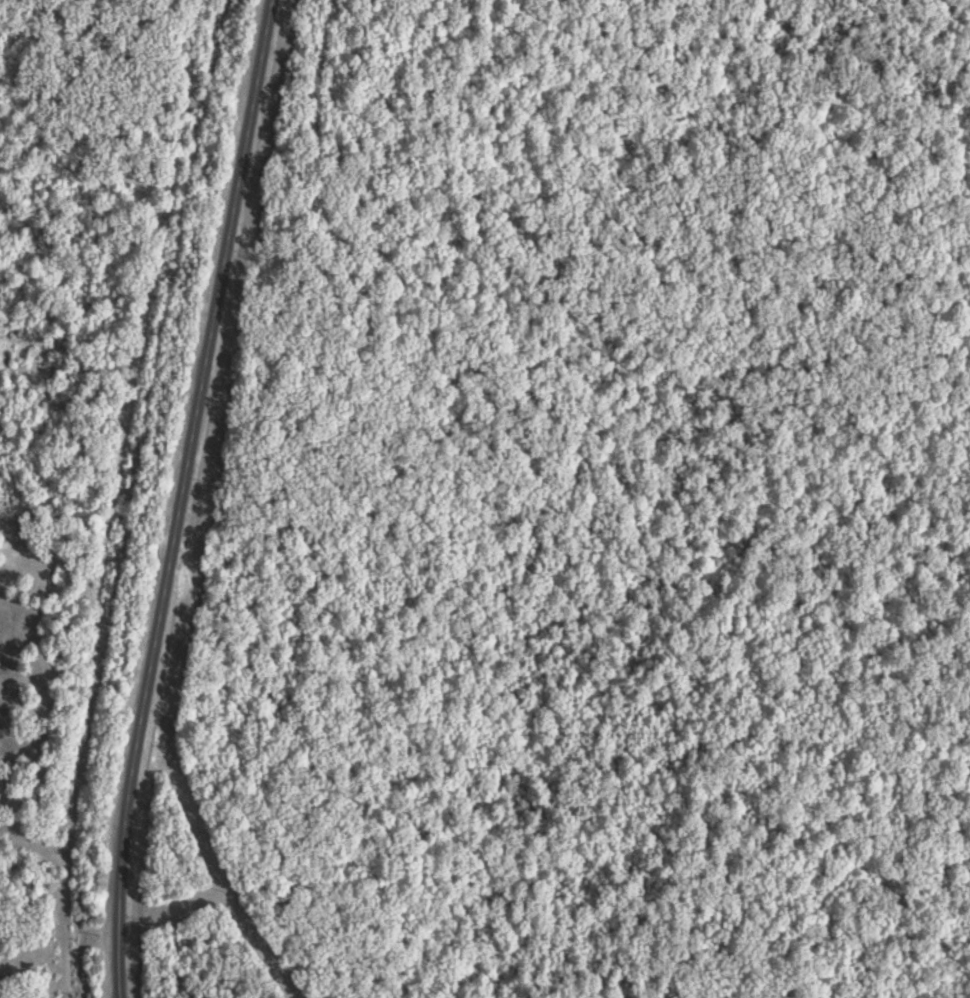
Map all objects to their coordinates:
road: (326, 156)
road: (137, 497)
road: (183, 497)
road: (53, 941)

